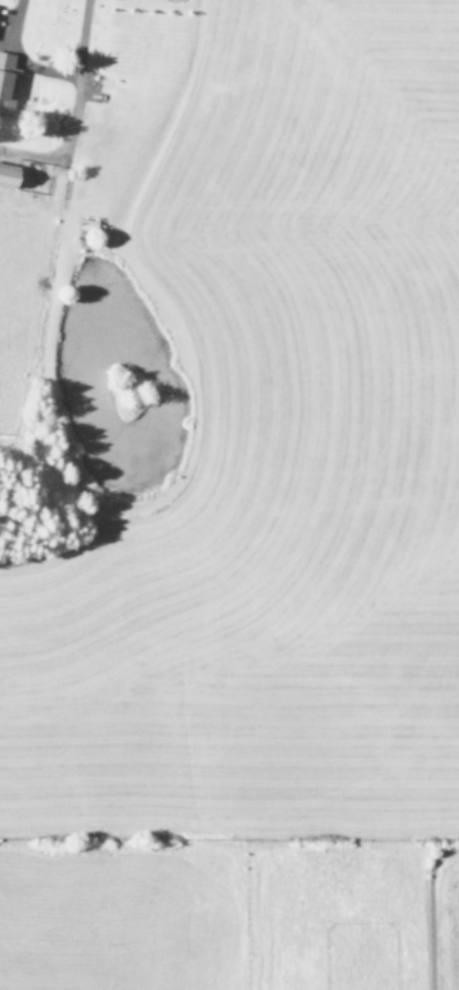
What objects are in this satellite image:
road: (54, 71)
building: (6, 82)
building: (5, 176)
crop: (229, 495)

